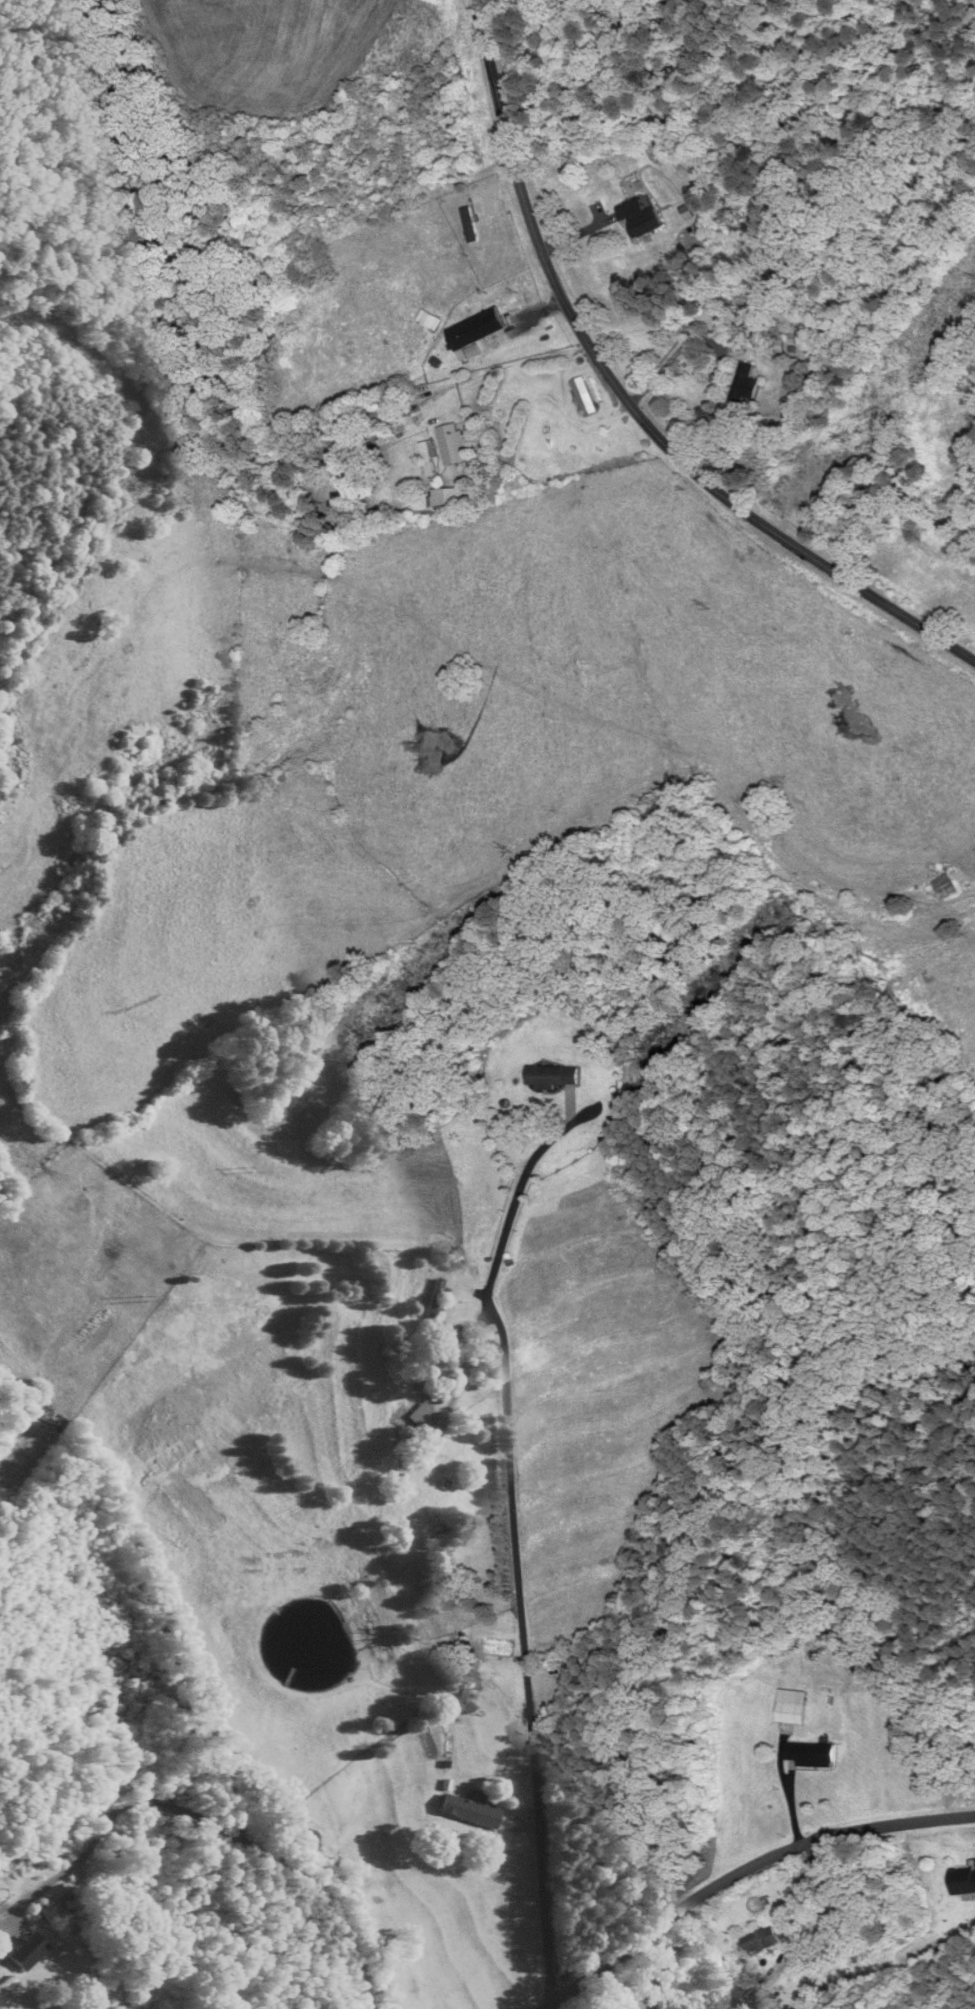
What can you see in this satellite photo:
building: (640, 220)
building: (476, 331)
building: (776, 346)
road: (501, 368)
building: (747, 386)
building: (584, 397)
road: (630, 401)
building: (429, 457)
building: (448, 498)
building: (945, 887)
building: (553, 1077)
building: (435, 1298)
road: (520, 1543)
building: (791, 1715)
building: (810, 1757)
building: (469, 1811)
road: (201, 1827)
road: (752, 1870)
building: (964, 1882)
building: (761, 1942)
building: (6, 1983)
road: (555, 2004)
road: (759, 2006)

